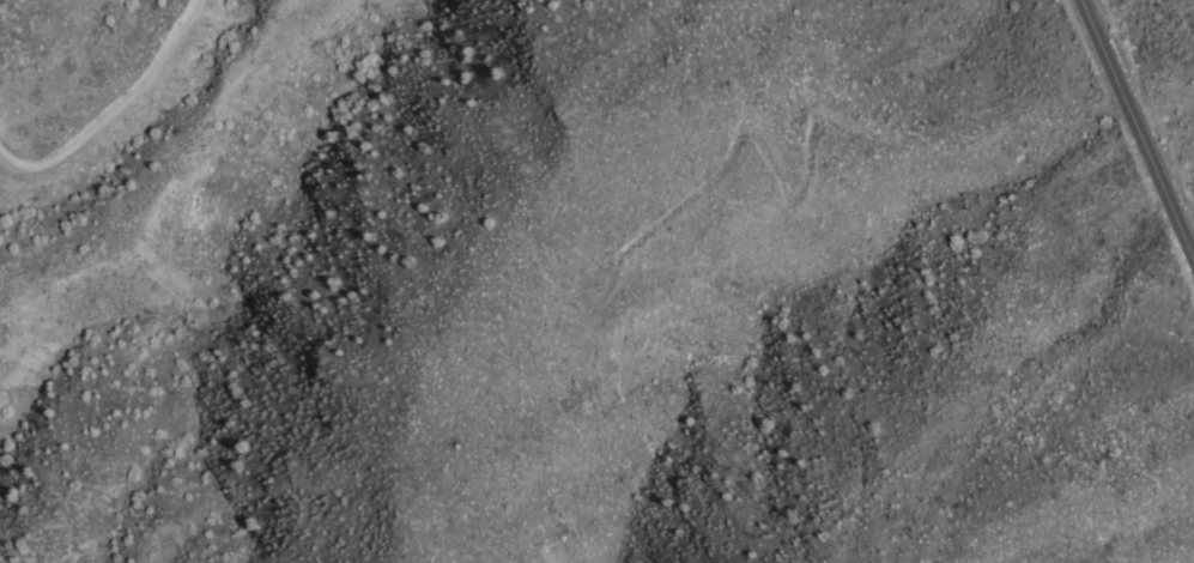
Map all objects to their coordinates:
road: (1141, 120)

